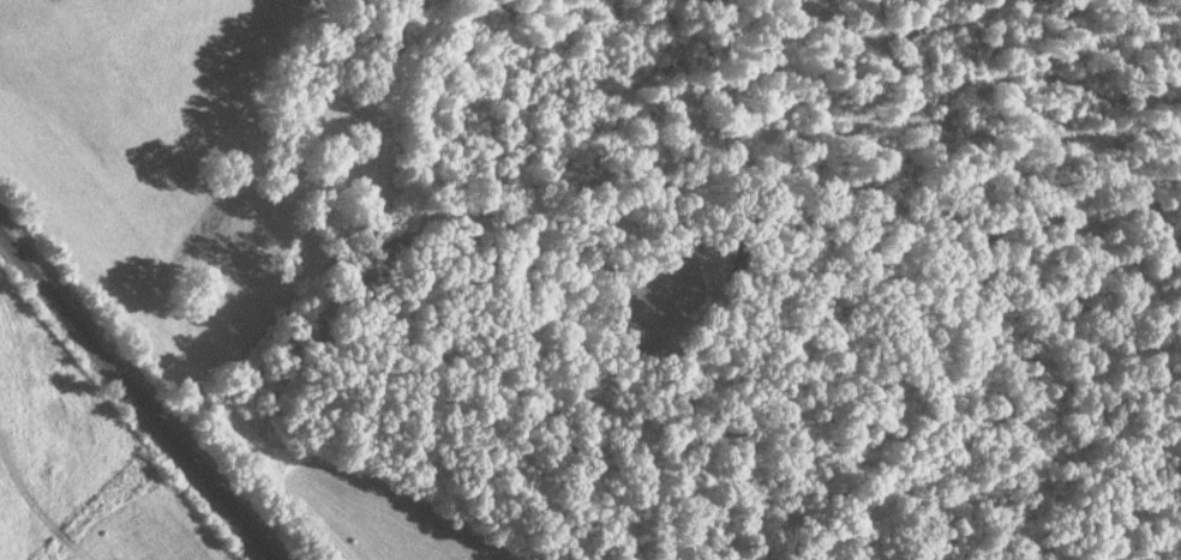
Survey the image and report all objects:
railway: (133, 397)

